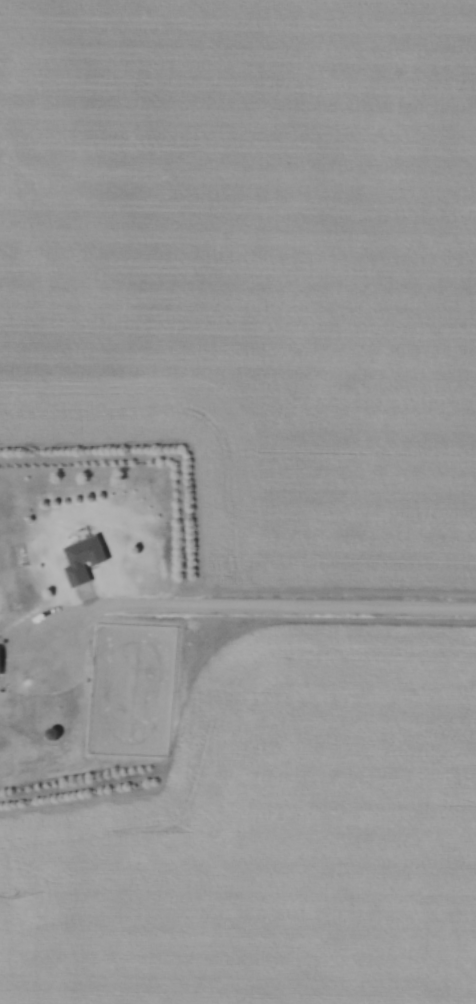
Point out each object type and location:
building: (79, 560)
road: (239, 605)

